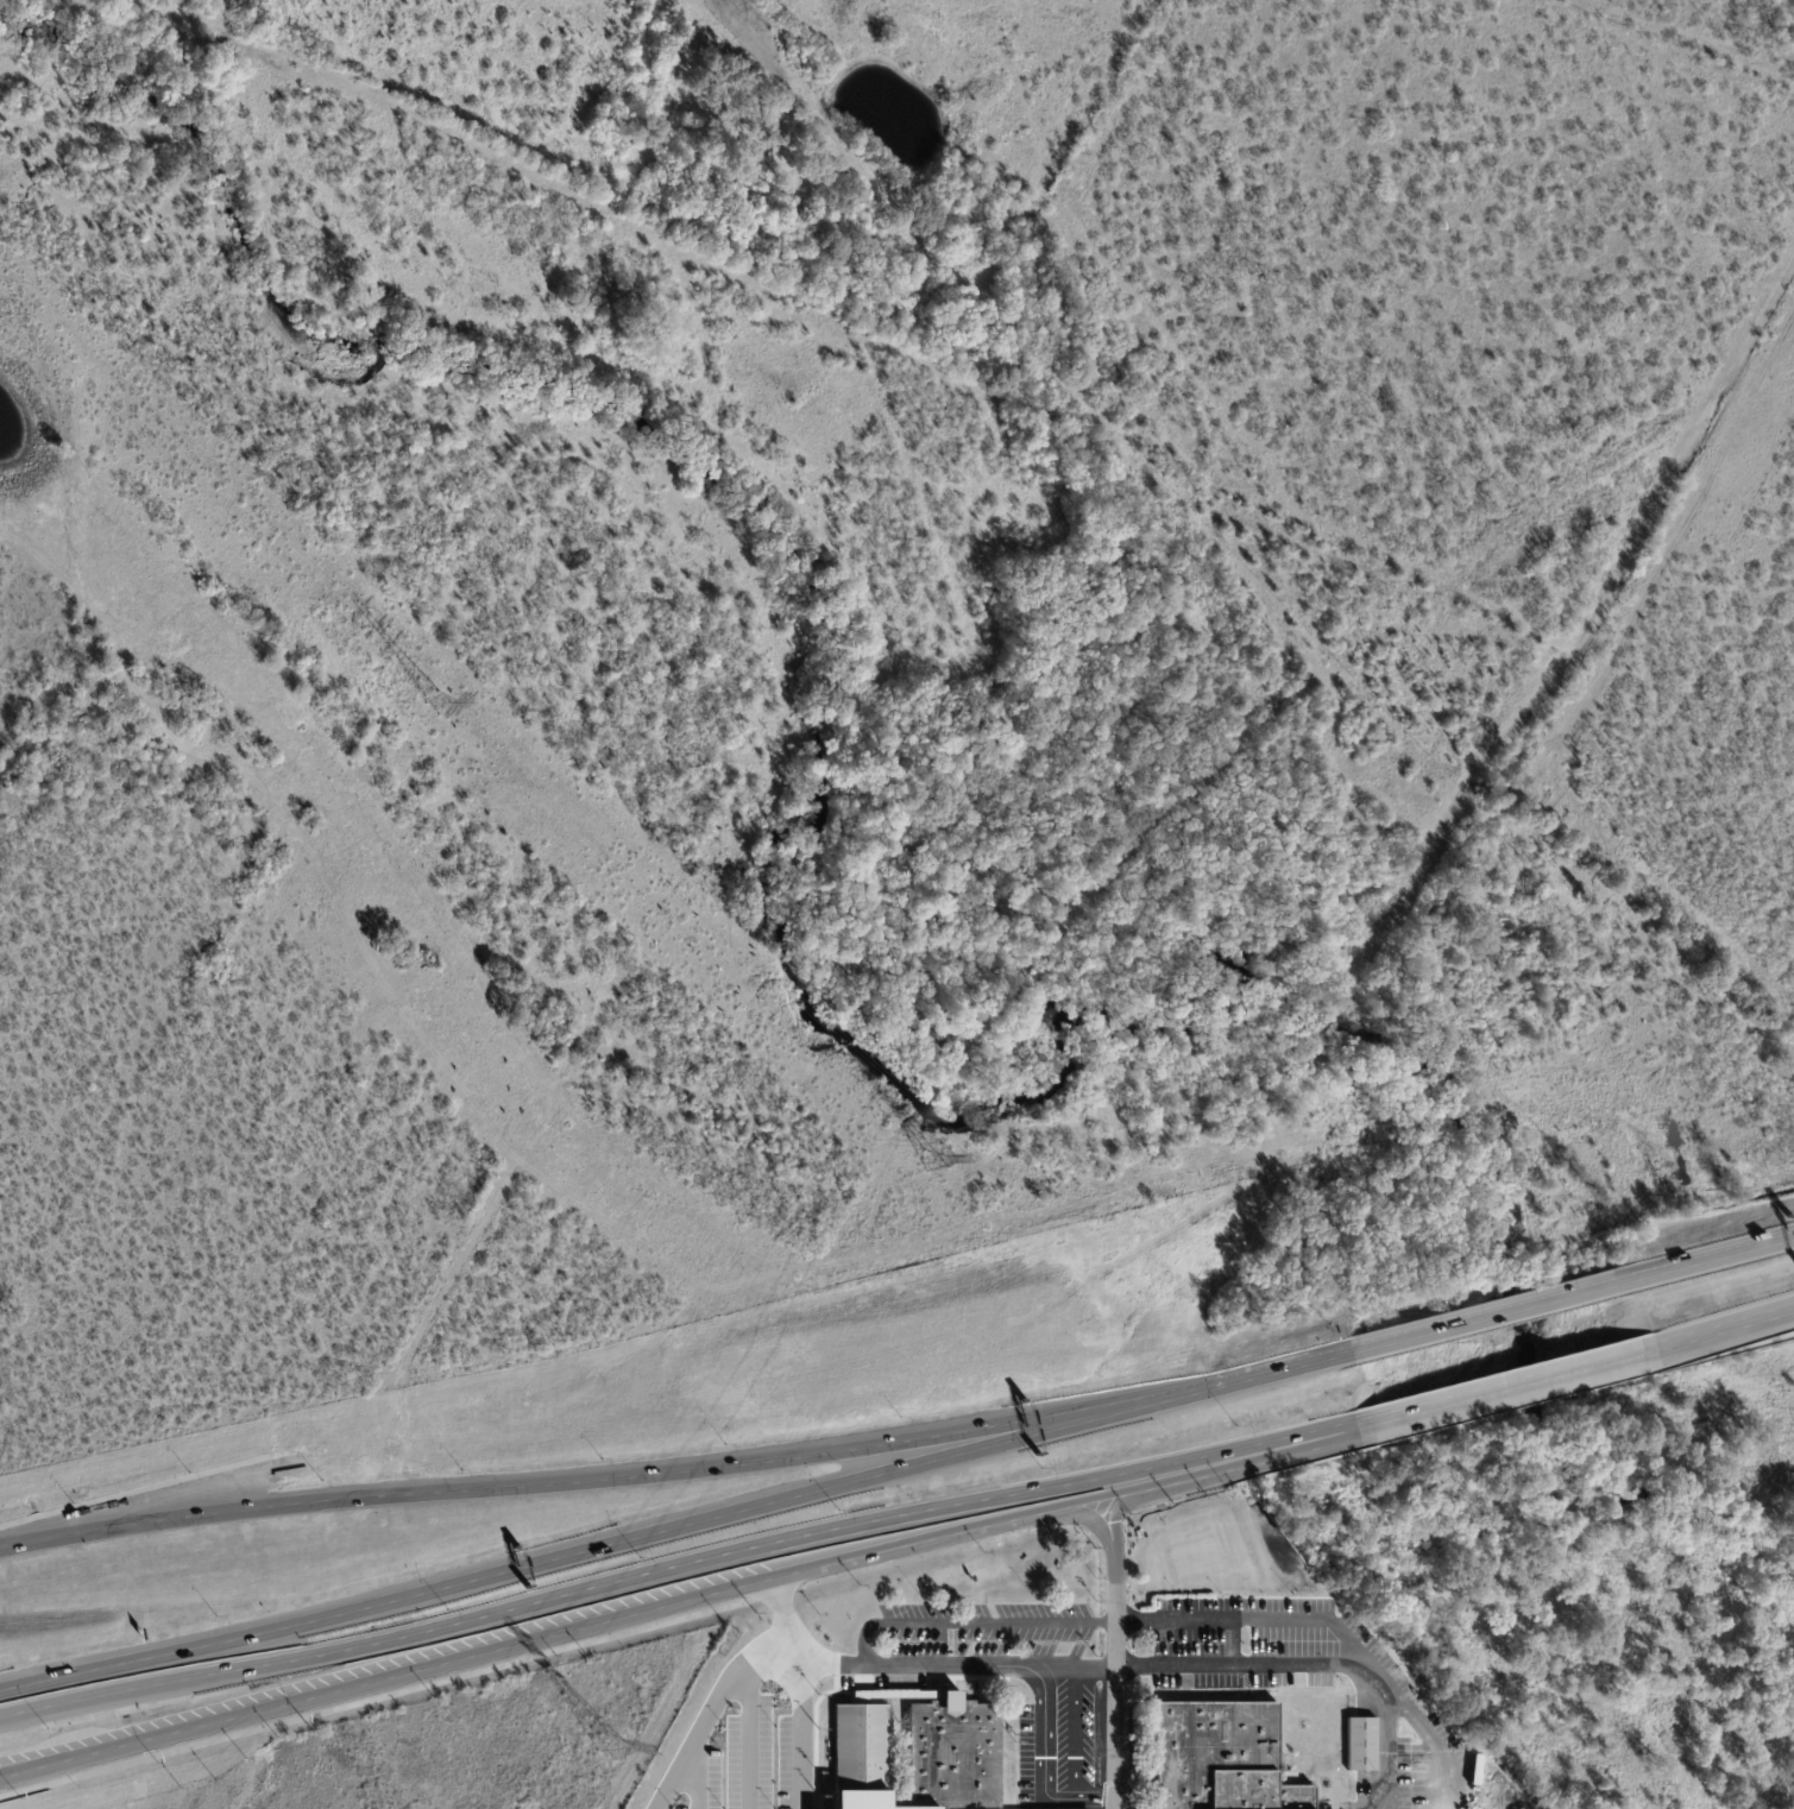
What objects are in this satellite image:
power tower: (441, 704)
power tower: (938, 1156)
road: (1713, 1255)
road: (1492, 1312)
road: (1718, 1330)
road: (1248, 1376)
road: (1506, 1389)
road: (1324, 1437)
road: (1194, 1474)
road: (602, 1475)
road: (756, 1506)
road: (27, 1537)
road: (940, 1537)
road: (769, 1543)
road: (1056, 1624)
road: (183, 1650)
road: (1116, 1654)
road: (918, 1665)
road: (1320, 1665)
road: (385, 1677)
parking lot: (1310, 1685)
road: (132, 1687)
building: (857, 1690)
road: (390, 1693)
parking lot: (1068, 1707)
road: (715, 1708)
road: (798, 1728)
building: (1066, 1729)
road: (747, 1735)
parking lot: (750, 1740)
road: (1437, 1741)
building: (1361, 1744)
power tower: (611, 1745)
building: (865, 1757)
building: (957, 1758)
building: (1228, 1761)
building: (1022, 1773)
building: (1052, 1773)
building: (1079, 1773)
road: (695, 1777)
road: (1059, 1797)
building: (870, 1805)

